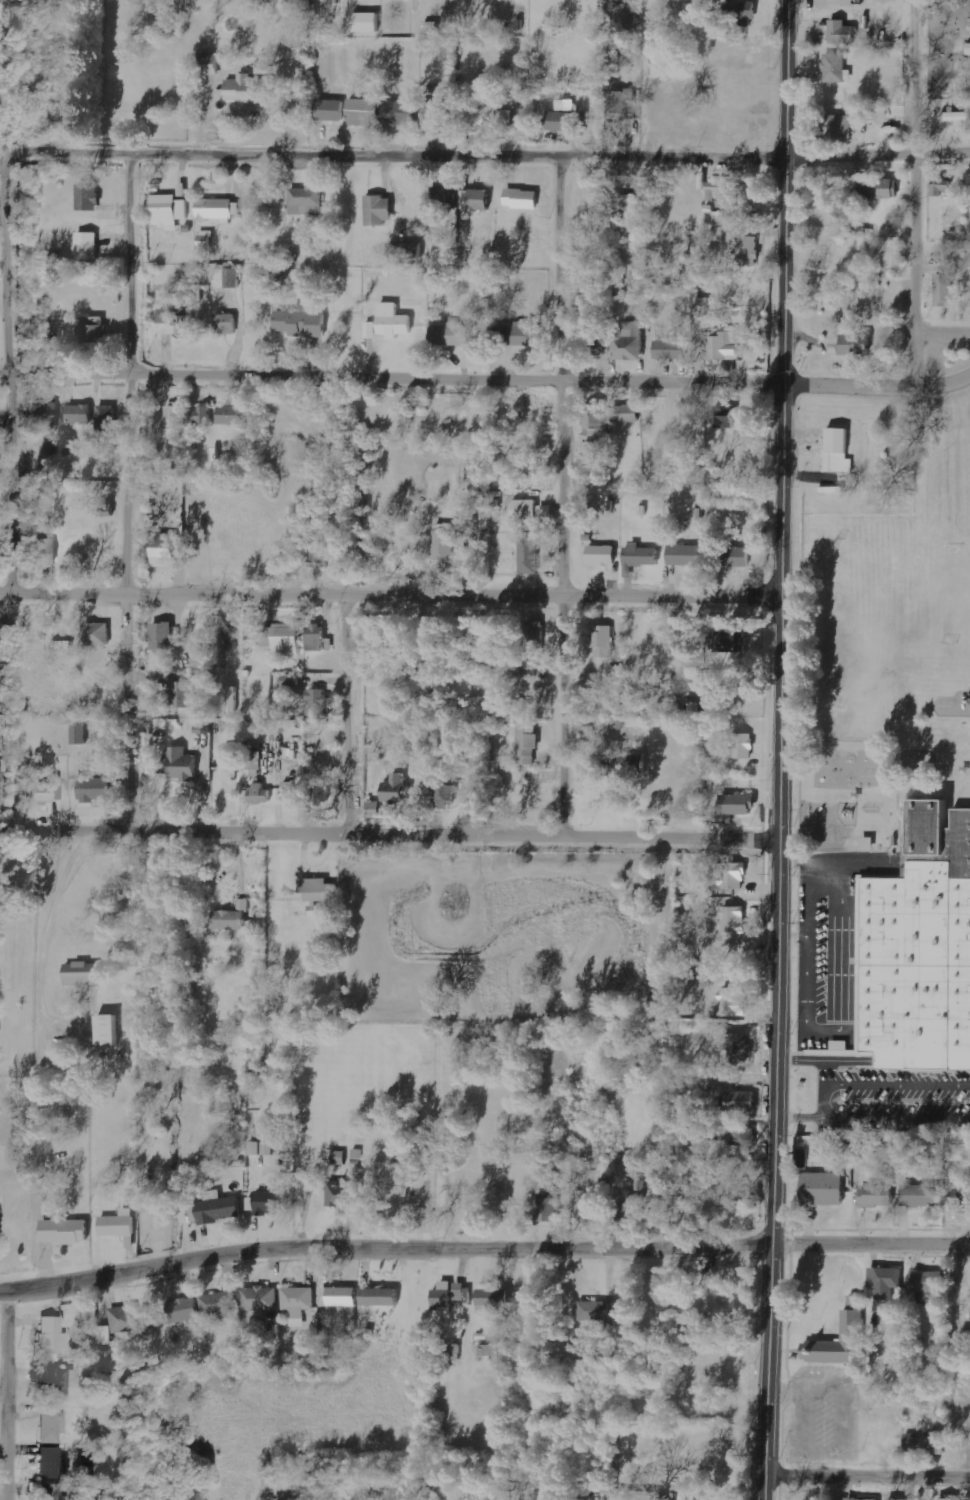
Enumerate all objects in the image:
building: (745, 12)
building: (369, 23)
building: (842, 33)
building: (969, 48)
building: (654, 62)
building: (211, 64)
building: (837, 68)
building: (250, 89)
building: (621, 102)
building: (567, 105)
building: (331, 110)
building: (364, 111)
building: (402, 114)
building: (437, 115)
building: (481, 117)
building: (956, 117)
building: (559, 121)
building: (839, 126)
road: (512, 155)
building: (942, 186)
building: (882, 188)
building: (714, 190)
road: (919, 192)
building: (89, 197)
building: (746, 197)
building: (445, 198)
building: (524, 198)
building: (478, 200)
building: (306, 201)
building: (216, 209)
building: (379, 210)
building: (170, 211)
building: (628, 211)
building: (206, 239)
building: (88, 245)
building: (408, 251)
building: (745, 252)
building: (227, 278)
building: (284, 278)
building: (947, 284)
building: (166, 316)
building: (186, 321)
building: (395, 321)
building: (302, 322)
building: (226, 324)
building: (371, 330)
road: (944, 330)
building: (95, 333)
building: (452, 335)
building: (523, 335)
building: (631, 342)
building: (858, 344)
building: (721, 345)
building: (671, 350)
road: (459, 376)
road: (945, 382)
building: (81, 414)
building: (628, 414)
building: (46, 415)
building: (232, 415)
building: (202, 416)
building: (726, 417)
building: (107, 419)
building: (175, 419)
building: (595, 448)
building: (839, 452)
road: (20, 472)
road: (137, 489)
road: (573, 494)
building: (526, 510)
building: (546, 511)
building: (446, 541)
building: (167, 550)
building: (46, 553)
building: (530, 555)
building: (603, 555)
building: (685, 555)
building: (641, 556)
building: (733, 556)
building: (317, 559)
road: (391, 589)
building: (98, 634)
building: (538, 635)
building: (163, 636)
building: (266, 636)
building: (317, 637)
building: (289, 639)
building: (605, 642)
building: (727, 642)
building: (182, 694)
building: (317, 702)
road: (355, 708)
building: (80, 734)
building: (529, 745)
building: (744, 746)
road: (779, 750)
building: (255, 757)
building: (231, 759)
building: (183, 765)
building: (396, 788)
building: (469, 788)
building: (97, 789)
building: (47, 792)
building: (290, 792)
building: (630, 792)
building: (258, 794)
building: (0, 795)
building: (446, 796)
building: (738, 804)
building: (375, 809)
road: (389, 828)
building: (870, 844)
building: (735, 876)
building: (320, 890)
building: (234, 918)
building: (735, 920)
building: (918, 942)
building: (83, 974)
building: (110, 1031)
building: (737, 1048)
road: (35, 1051)
building: (744, 1101)
building: (736, 1134)
building: (255, 1148)
building: (404, 1151)
building: (339, 1158)
building: (662, 1179)
building: (817, 1192)
building: (962, 1193)
building: (347, 1195)
building: (878, 1196)
building: (921, 1196)
building: (270, 1203)
building: (587, 1206)
building: (217, 1210)
building: (549, 1210)
building: (120, 1224)
building: (66, 1231)
road: (482, 1242)
building: (886, 1282)
building: (930, 1282)
building: (461, 1292)
building: (446, 1295)
building: (340, 1297)
building: (382, 1297)
building: (260, 1298)
building: (495, 1299)
building: (219, 1304)
building: (298, 1304)
building: (183, 1310)
building: (596, 1312)
building: (121, 1322)
building: (53, 1336)
building: (835, 1344)
building: (490, 1351)
building: (108, 1358)
building: (57, 1384)
road: (13, 1393)
building: (51, 1425)
building: (921, 1444)
building: (51, 1464)
road: (869, 1475)
building: (52, 1492)
building: (640, 1495)
building: (944, 1498)
building: (862, 1499)

